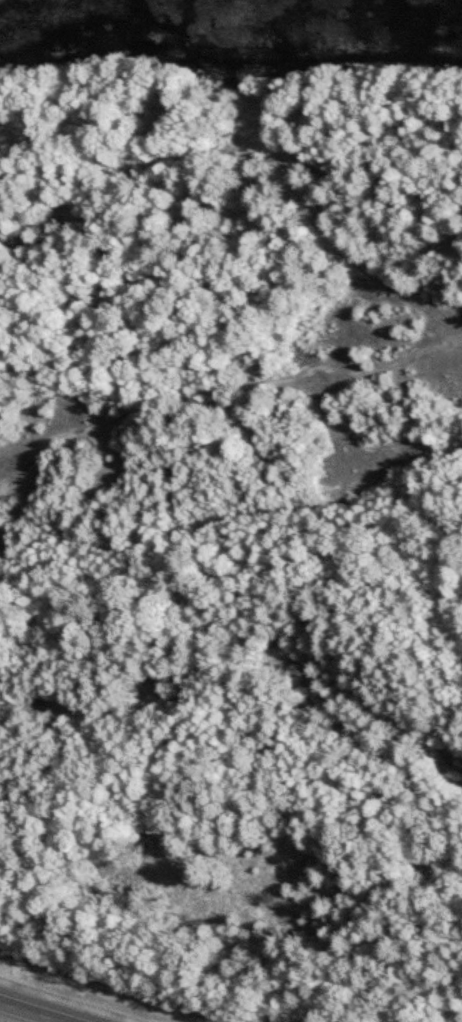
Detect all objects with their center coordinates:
road: (218, 392)
road: (29, 1012)

